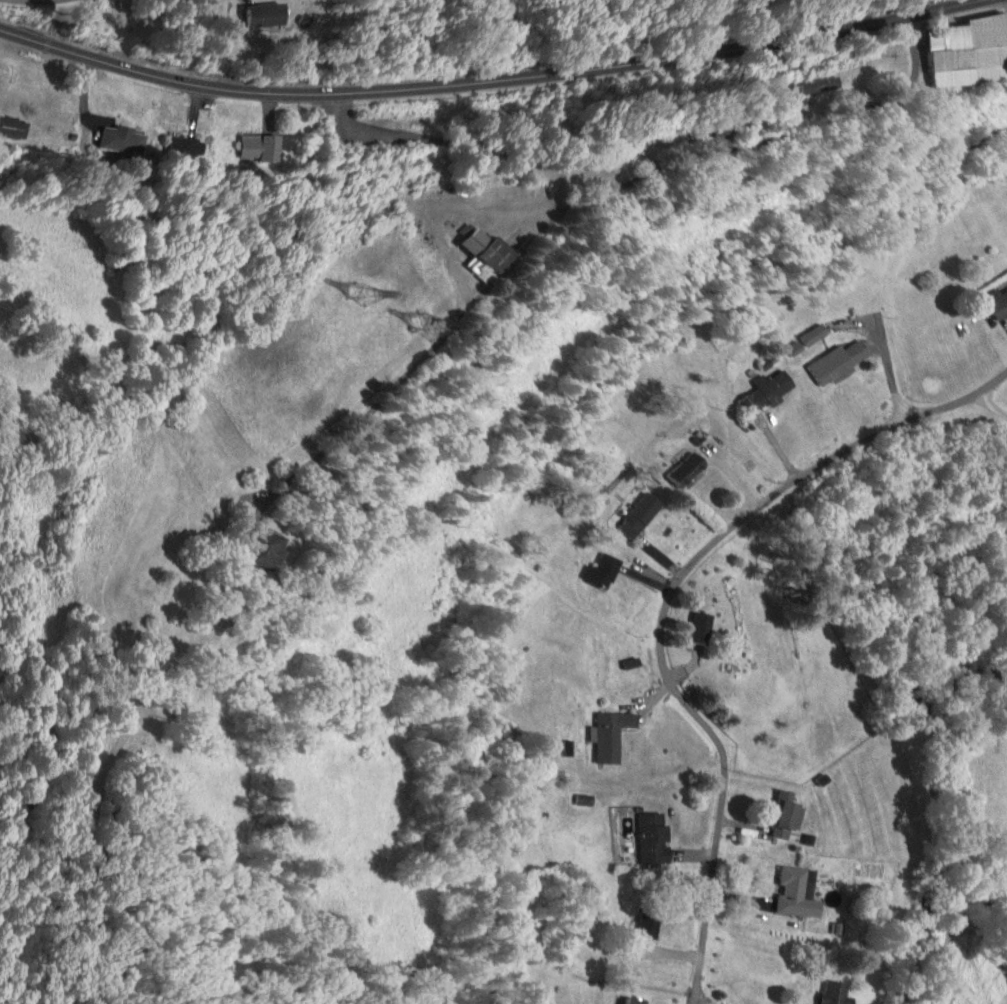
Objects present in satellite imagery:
building: (265, 15)
building: (973, 54)
road: (493, 81)
building: (830, 89)
building: (123, 140)
building: (274, 145)
building: (499, 251)
power tower: (379, 287)
building: (1000, 306)
power tower: (445, 324)
building: (815, 334)
building: (840, 361)
building: (767, 392)
building: (688, 468)
road: (857, 492)
building: (643, 514)
building: (271, 548)
building: (603, 570)
road: (668, 605)
building: (702, 627)
building: (613, 734)
building: (789, 812)
building: (654, 838)
building: (799, 892)
building: (651, 919)
building: (347, 939)
building: (836, 993)
building: (635, 1000)

